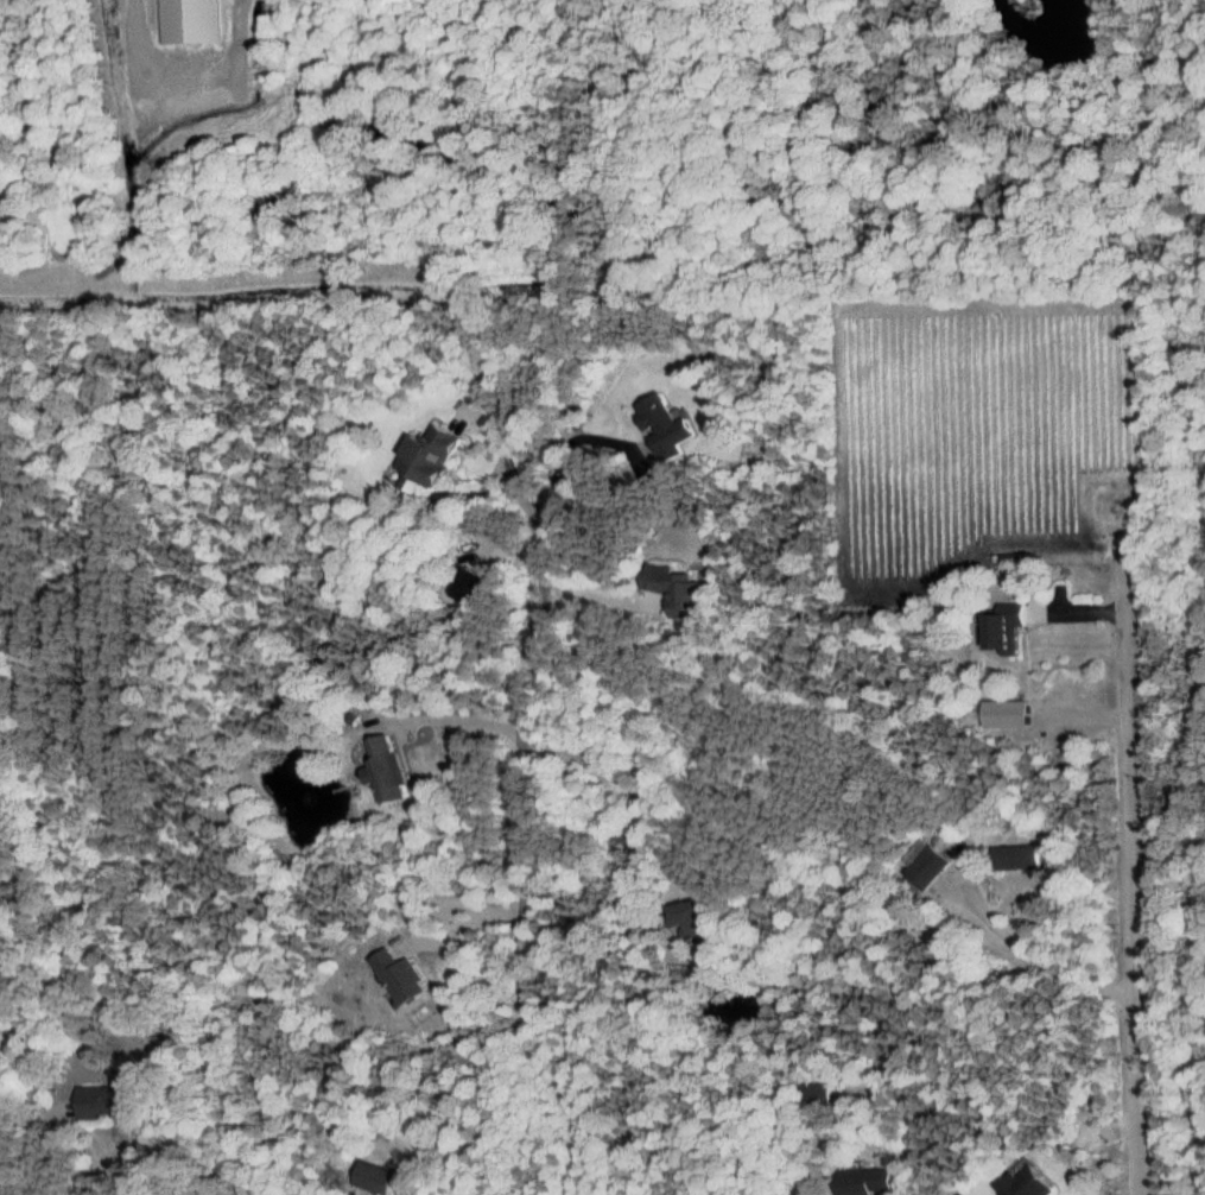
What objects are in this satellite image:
building: (189, 23)
road: (240, 44)
building: (665, 428)
building: (429, 459)
road: (516, 478)
building: (470, 581)
building: (677, 590)
building: (1006, 628)
road: (465, 715)
building: (1007, 715)
building: (386, 770)
road: (641, 796)
road: (528, 832)
building: (1016, 859)
building: (928, 868)
road: (1136, 873)
building: (695, 919)
road: (1047, 961)
building: (400, 978)
building: (819, 1096)
building: (101, 1102)
building: (378, 1178)
road: (80, 1180)
building: (867, 1182)
building: (1027, 1184)

